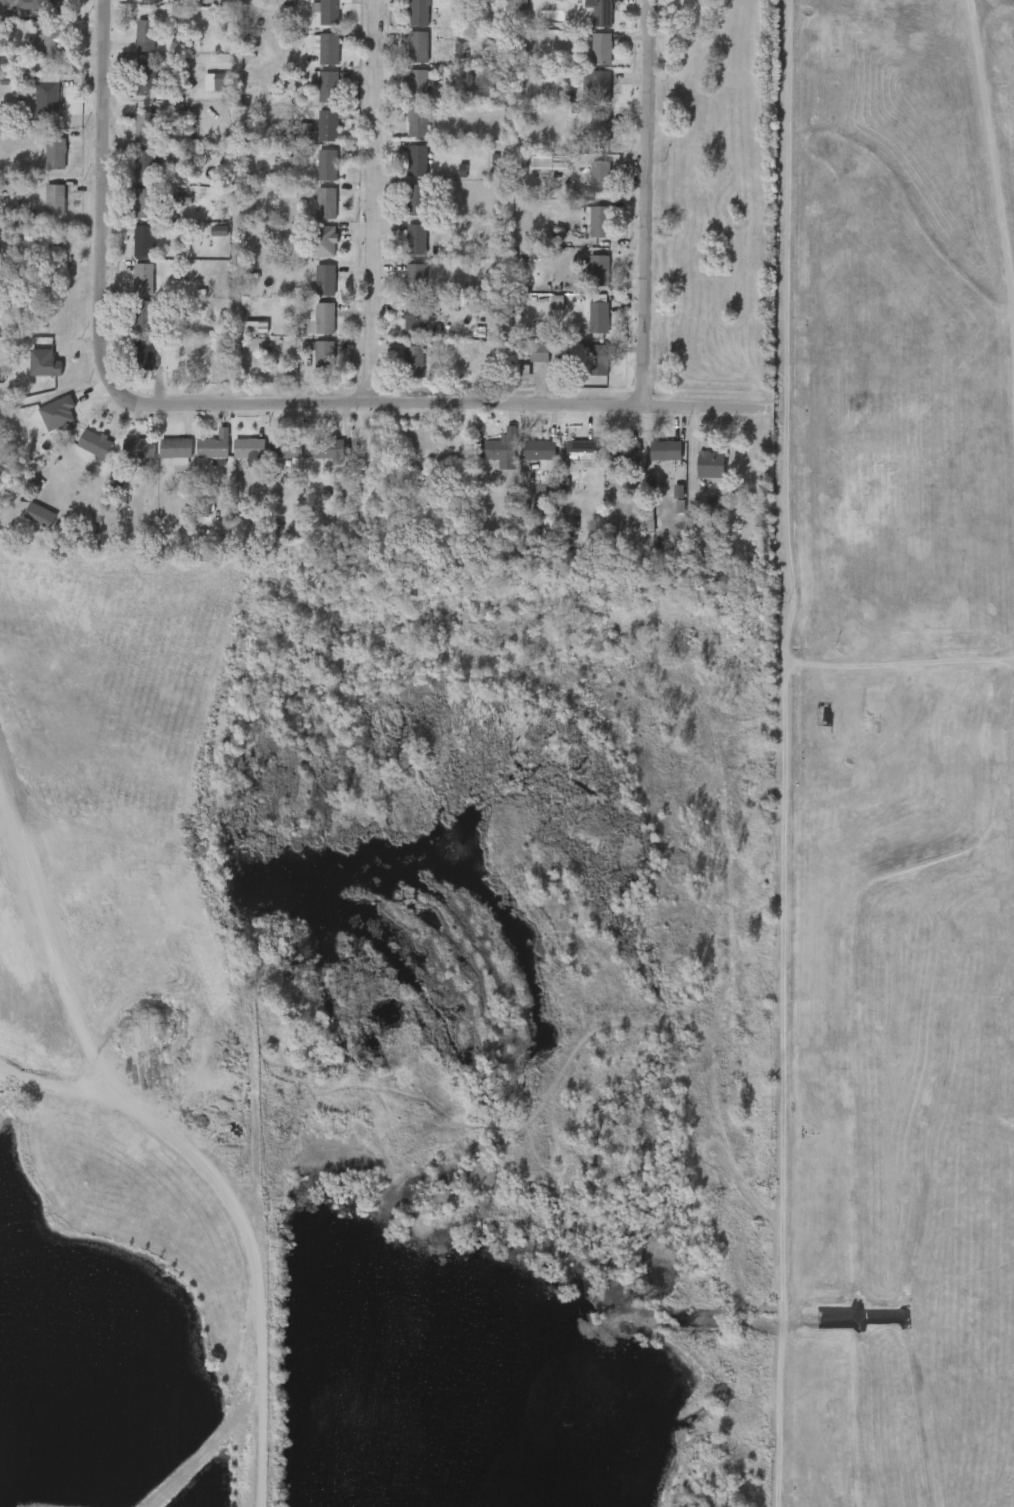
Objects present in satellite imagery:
building: (153, 0)
building: (137, 4)
building: (41, 5)
road: (252, 9)
building: (330, 11)
building: (420, 12)
building: (602, 12)
building: (587, 17)
building: (145, 33)
building: (133, 42)
building: (50, 43)
building: (418, 46)
building: (328, 47)
building: (604, 48)
building: (406, 53)
building: (314, 55)
building: (589, 55)
building: (147, 80)
building: (420, 83)
building: (599, 85)
building: (132, 86)
building: (327, 86)
building: (406, 89)
building: (584, 89)
building: (314, 93)
building: (46, 97)
building: (35, 106)
building: (421, 119)
building: (331, 123)
building: (146, 126)
building: (406, 128)
building: (588, 129)
building: (602, 130)
building: (315, 132)
building: (132, 134)
building: (57, 152)
building: (419, 159)
building: (44, 160)
building: (144, 162)
building: (329, 163)
building: (405, 167)
building: (536, 168)
building: (133, 172)
building: (315, 172)
building: (601, 175)
building: (587, 183)
road: (106, 194)
building: (57, 199)
building: (417, 199)
road: (375, 201)
building: (146, 202)
building: (326, 203)
road: (656, 203)
building: (43, 206)
building: (404, 206)
building: (131, 210)
building: (314, 210)
building: (598, 219)
building: (585, 227)
building: (416, 239)
building: (328, 240)
building: (143, 241)
building: (404, 246)
building: (131, 248)
building: (310, 248)
building: (601, 268)
building: (584, 276)
building: (142, 279)
building: (415, 279)
building: (325, 280)
building: (403, 282)
building: (131, 285)
building: (313, 286)
building: (143, 313)
building: (599, 317)
building: (322, 318)
building: (415, 318)
building: (131, 322)
building: (586, 324)
building: (309, 325)
building: (404, 325)
building: (527, 337)
building: (544, 350)
building: (144, 353)
building: (323, 355)
building: (592, 356)
building: (527, 359)
building: (131, 360)
building: (413, 361)
building: (313, 363)
building: (402, 367)
building: (32, 370)
road: (1002, 377)
road: (437, 402)
building: (95, 442)
building: (216, 447)
building: (251, 447)
building: (288, 447)
building: (328, 448)
building: (140, 449)
building: (178, 449)
building: (498, 449)
building: (83, 450)
building: (540, 450)
building: (665, 450)
building: (202, 452)
building: (585, 452)
building: (624, 452)
building: (127, 454)
building: (237, 454)
building: (274, 455)
building: (164, 456)
building: (527, 456)
building: (568, 456)
building: (653, 457)
building: (316, 458)
building: (612, 458)
building: (488, 459)
building: (712, 464)
building: (698, 471)
building: (702, 513)
building: (41, 514)
building: (28, 522)
building: (535, 533)
road: (891, 670)
building: (876, 703)
road: (770, 753)

